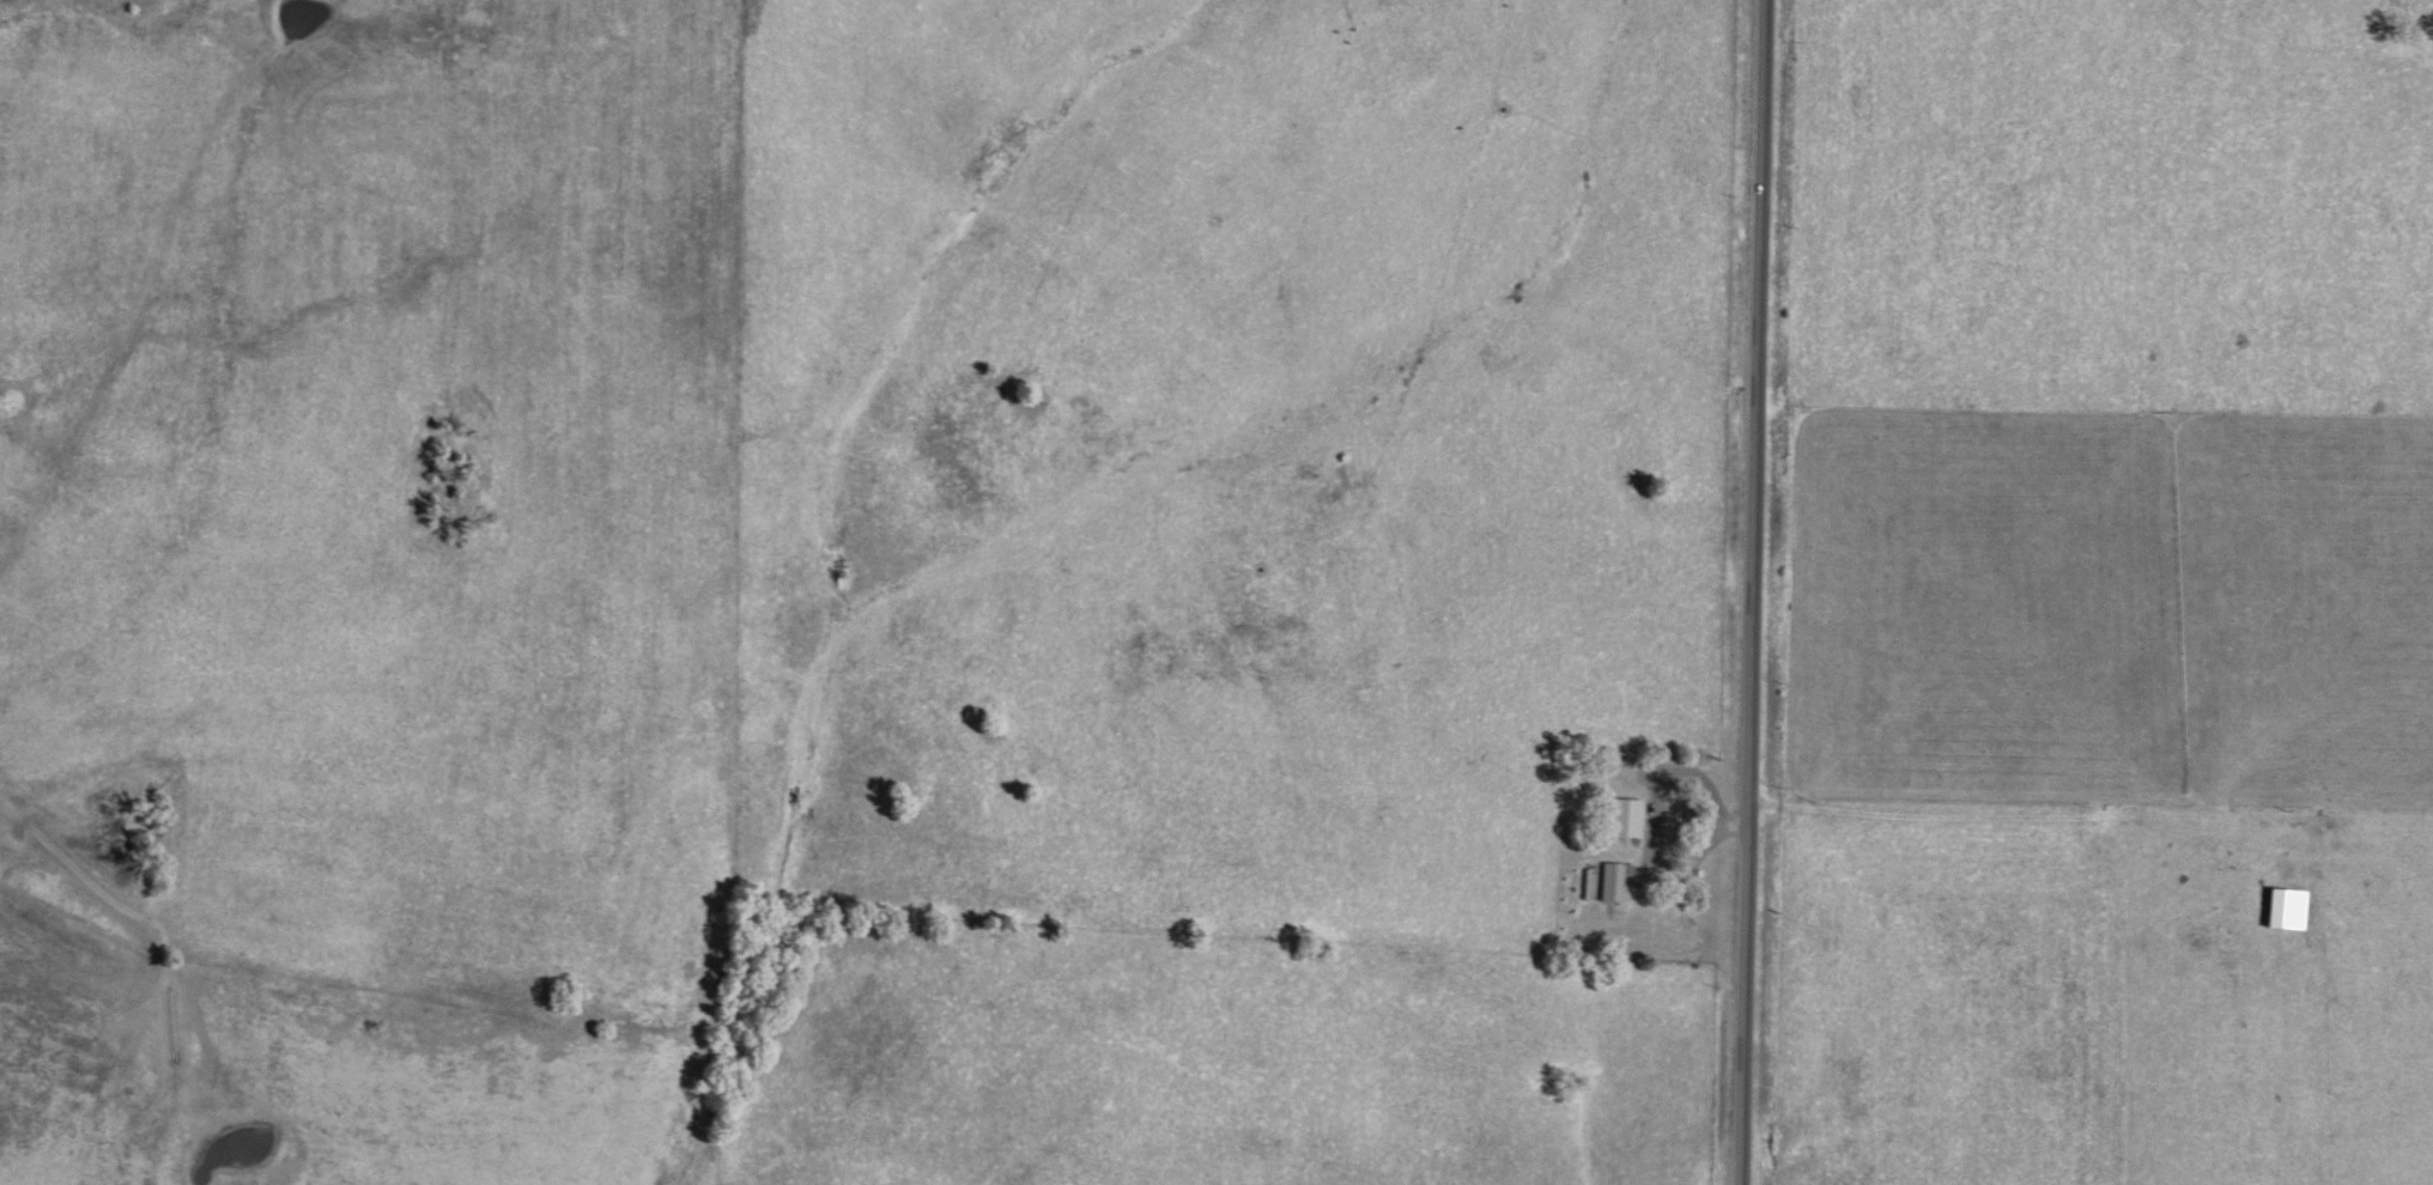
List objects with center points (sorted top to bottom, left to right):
road: (1749, 592)
building: (1620, 816)
building: (1609, 880)

